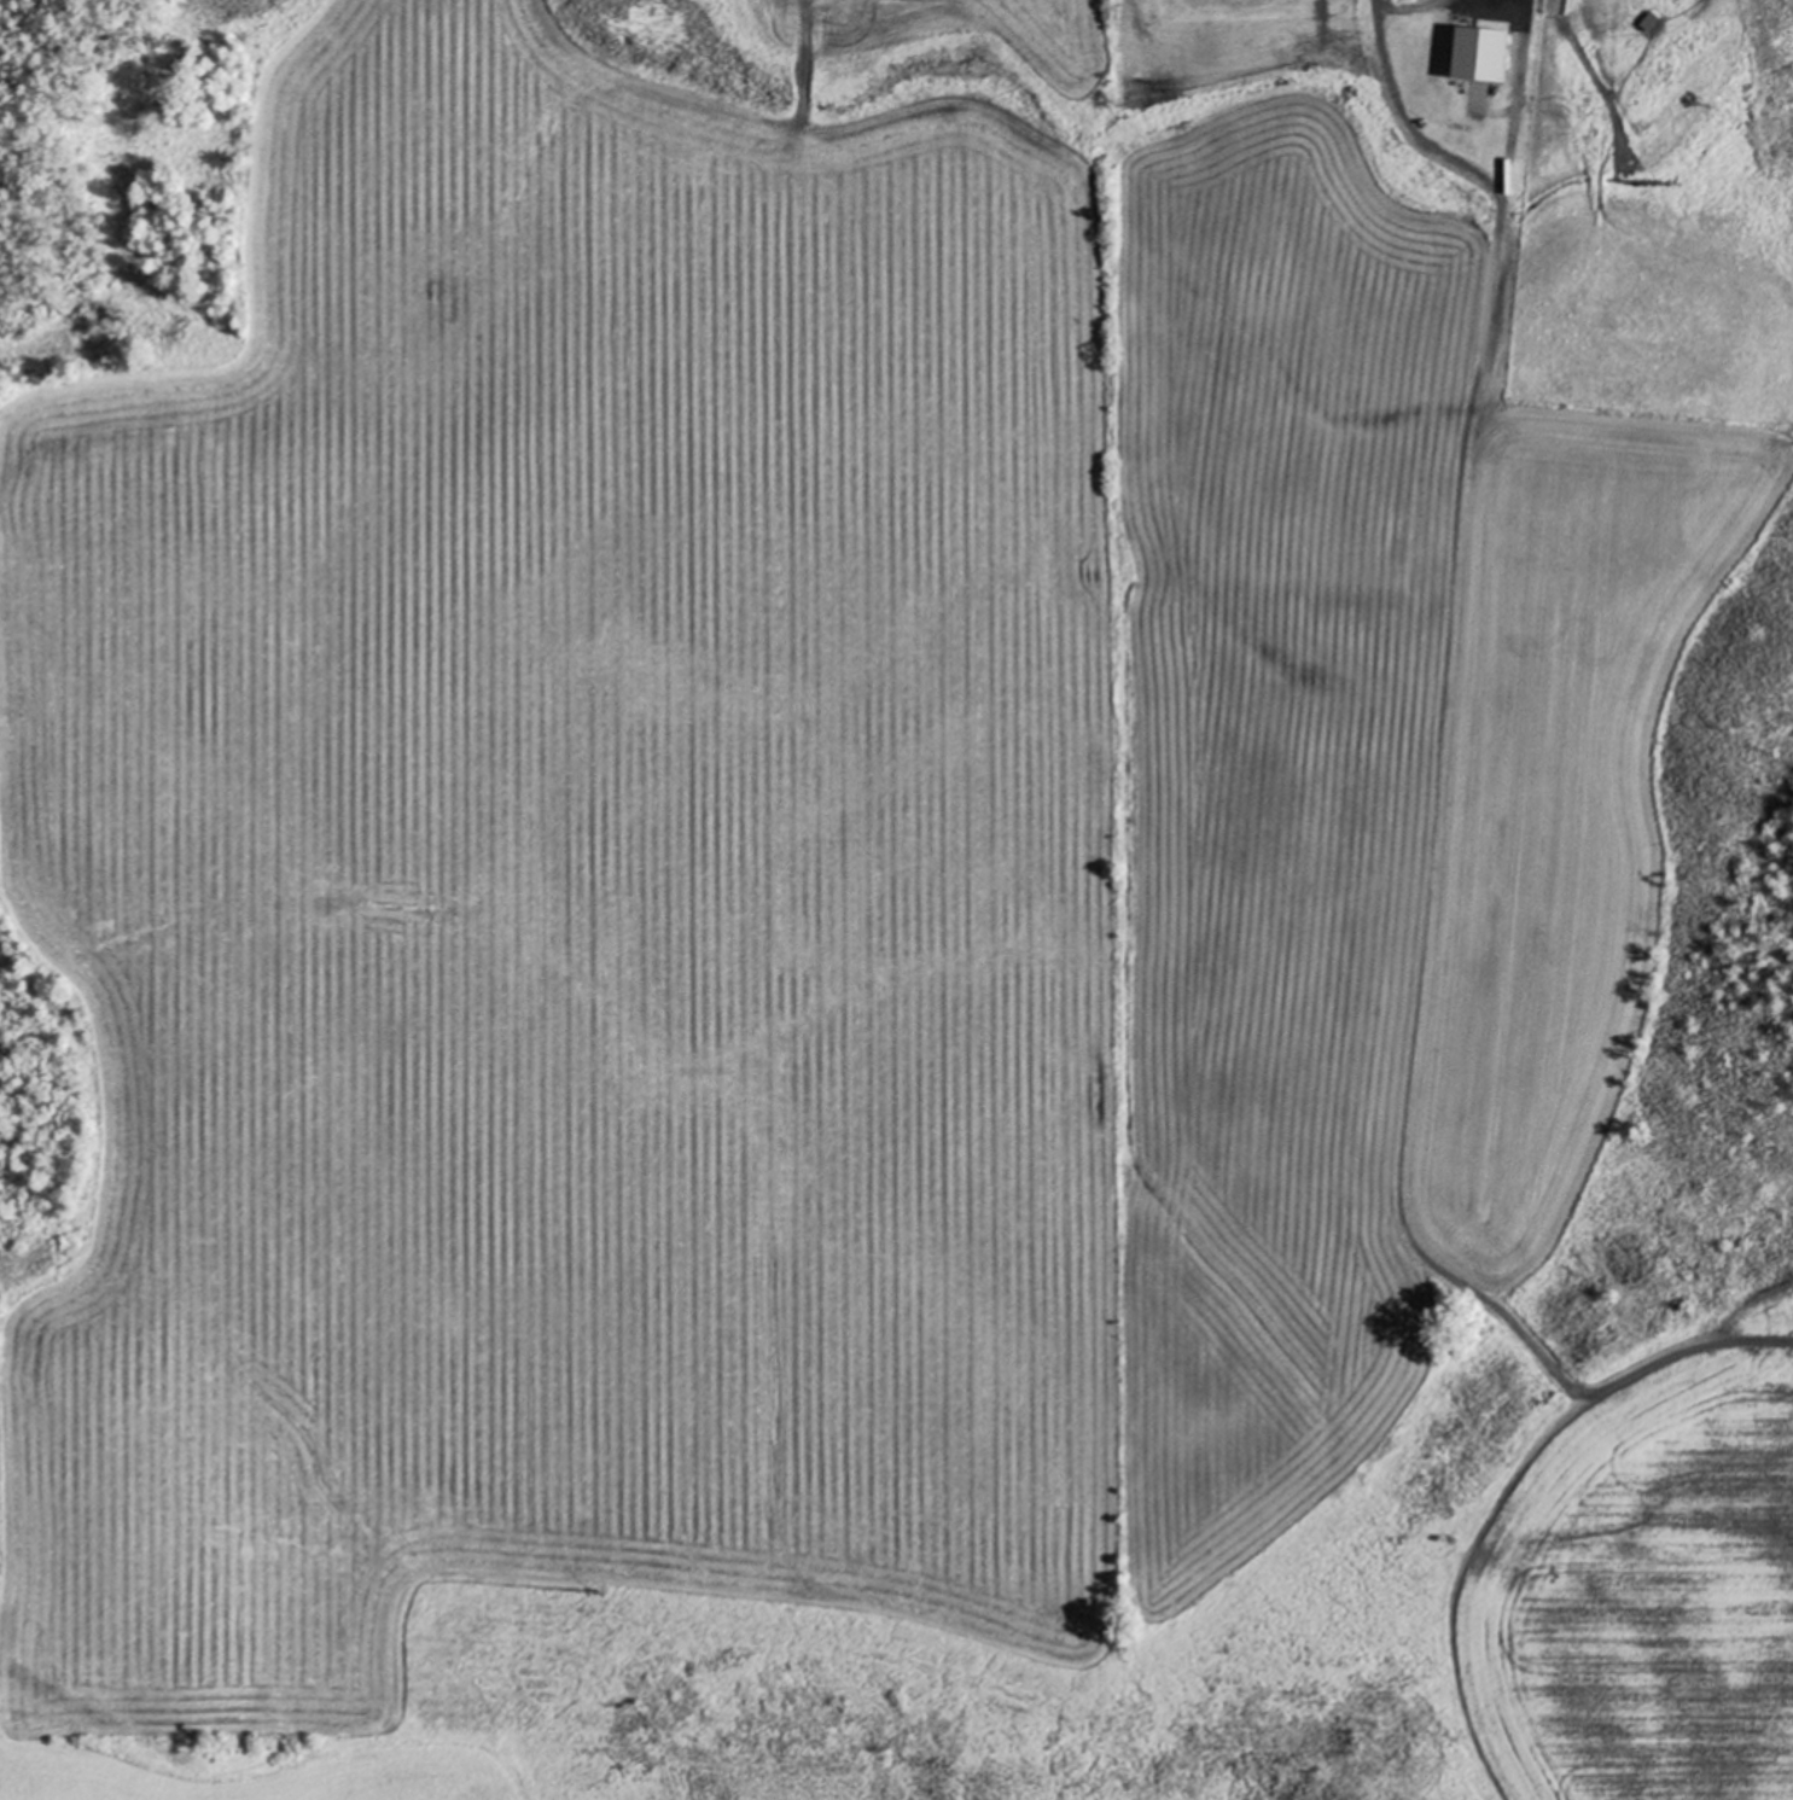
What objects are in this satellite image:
building: (1480, 56)

